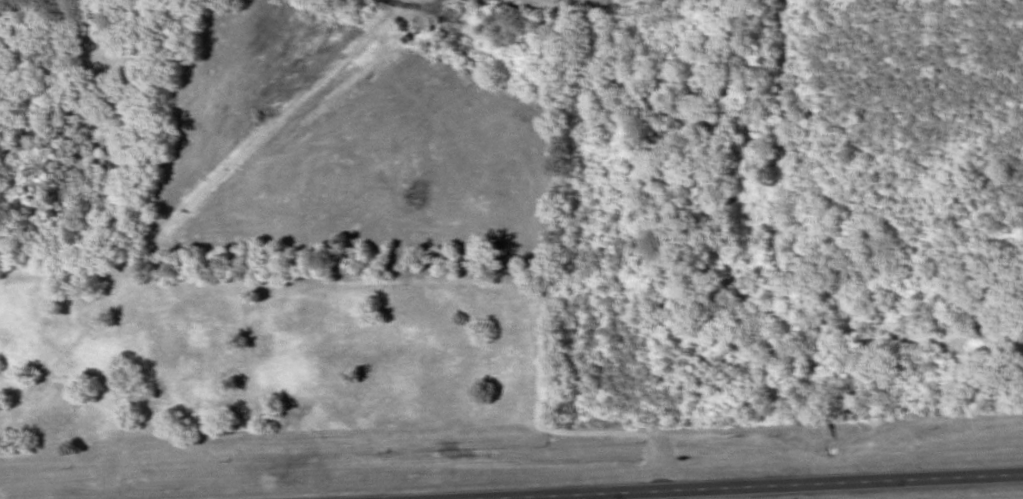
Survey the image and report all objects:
road: (725, 485)

